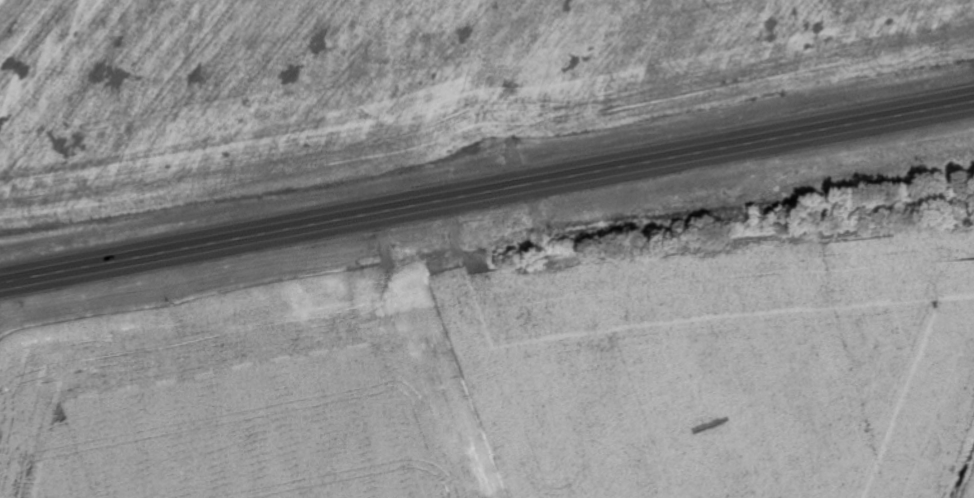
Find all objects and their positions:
road: (486, 168)

